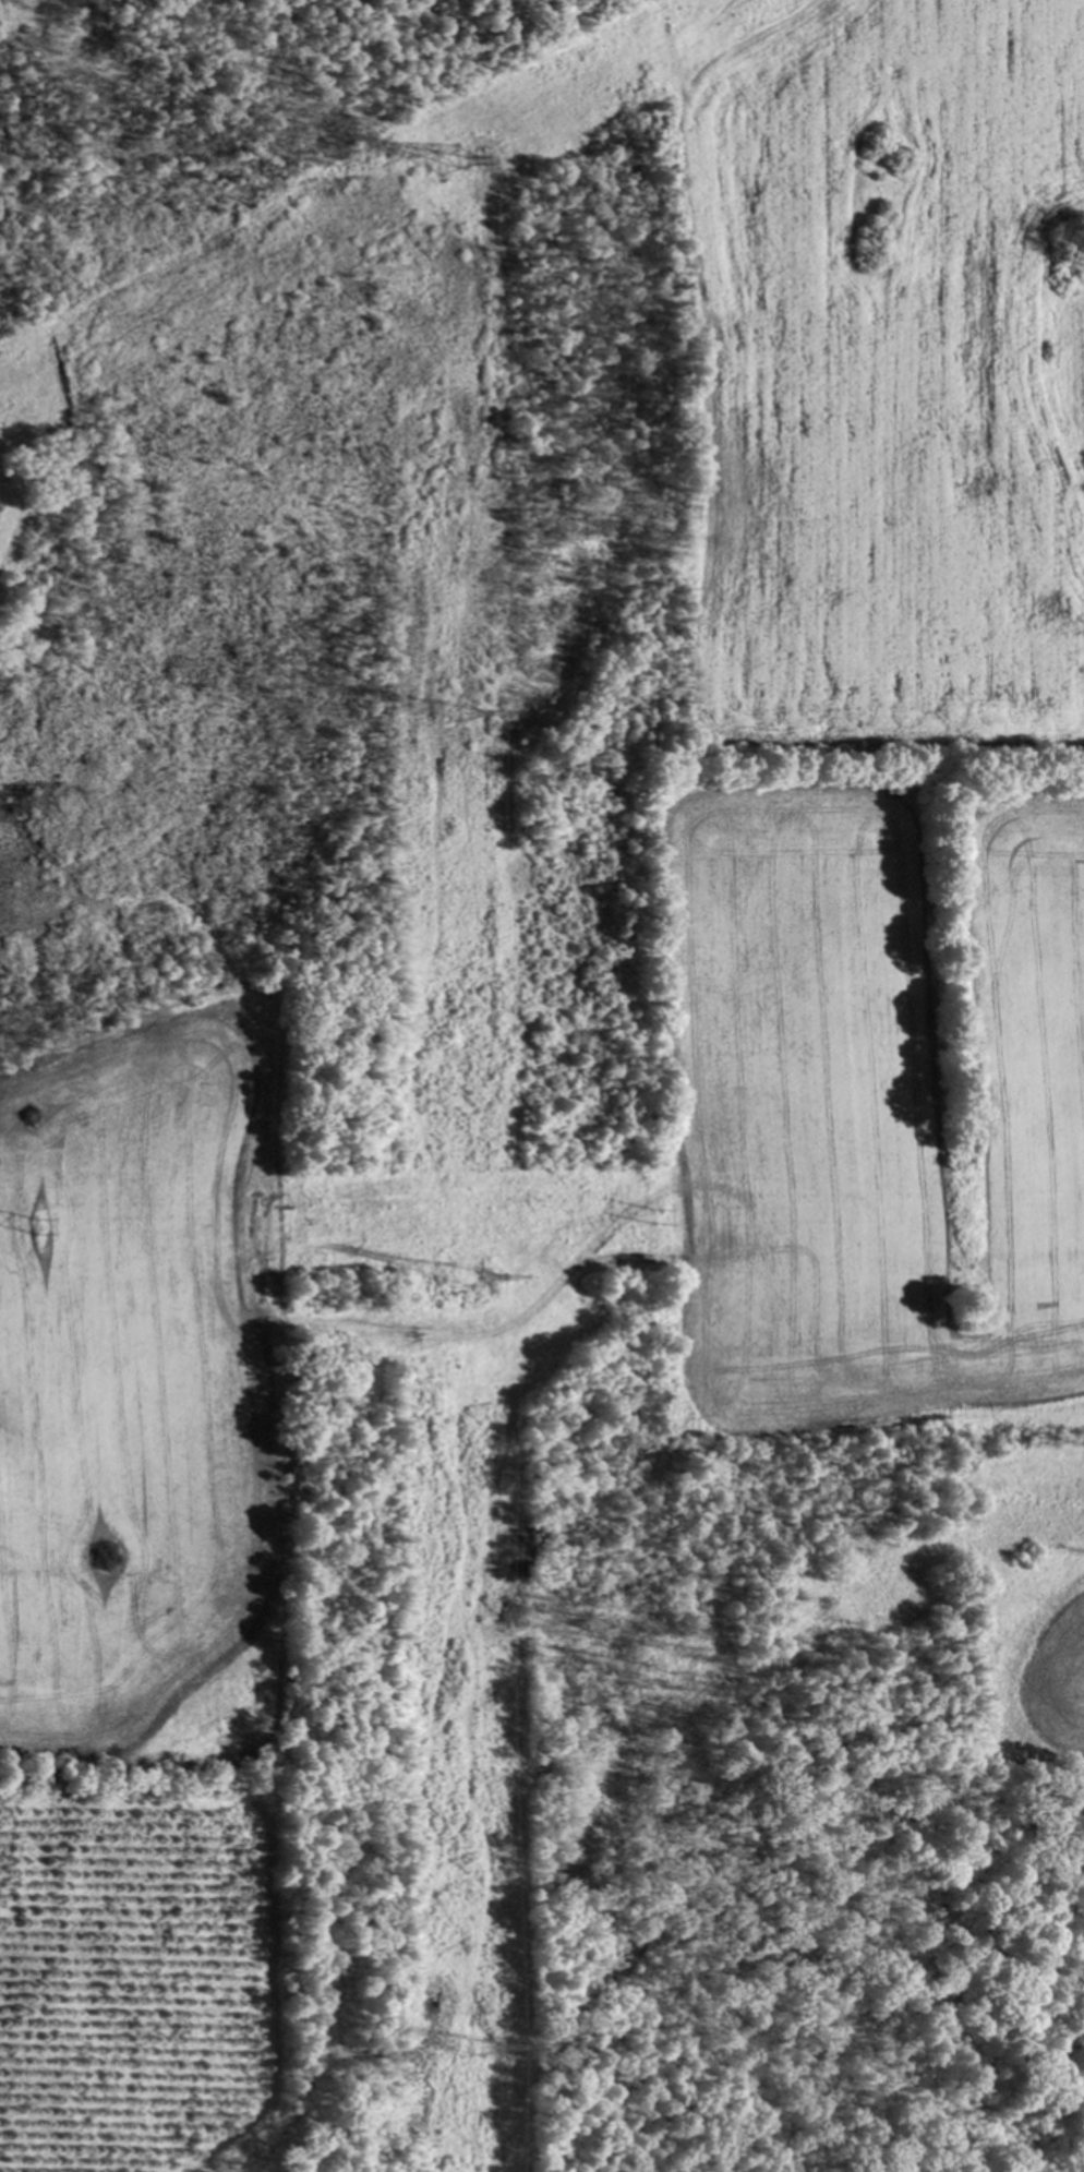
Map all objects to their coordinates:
power tower: (453, 158)
power tower: (459, 712)
power tower: (654, 1216)
power tower: (36, 1227)
power tower: (463, 1280)
power tower: (474, 2050)

